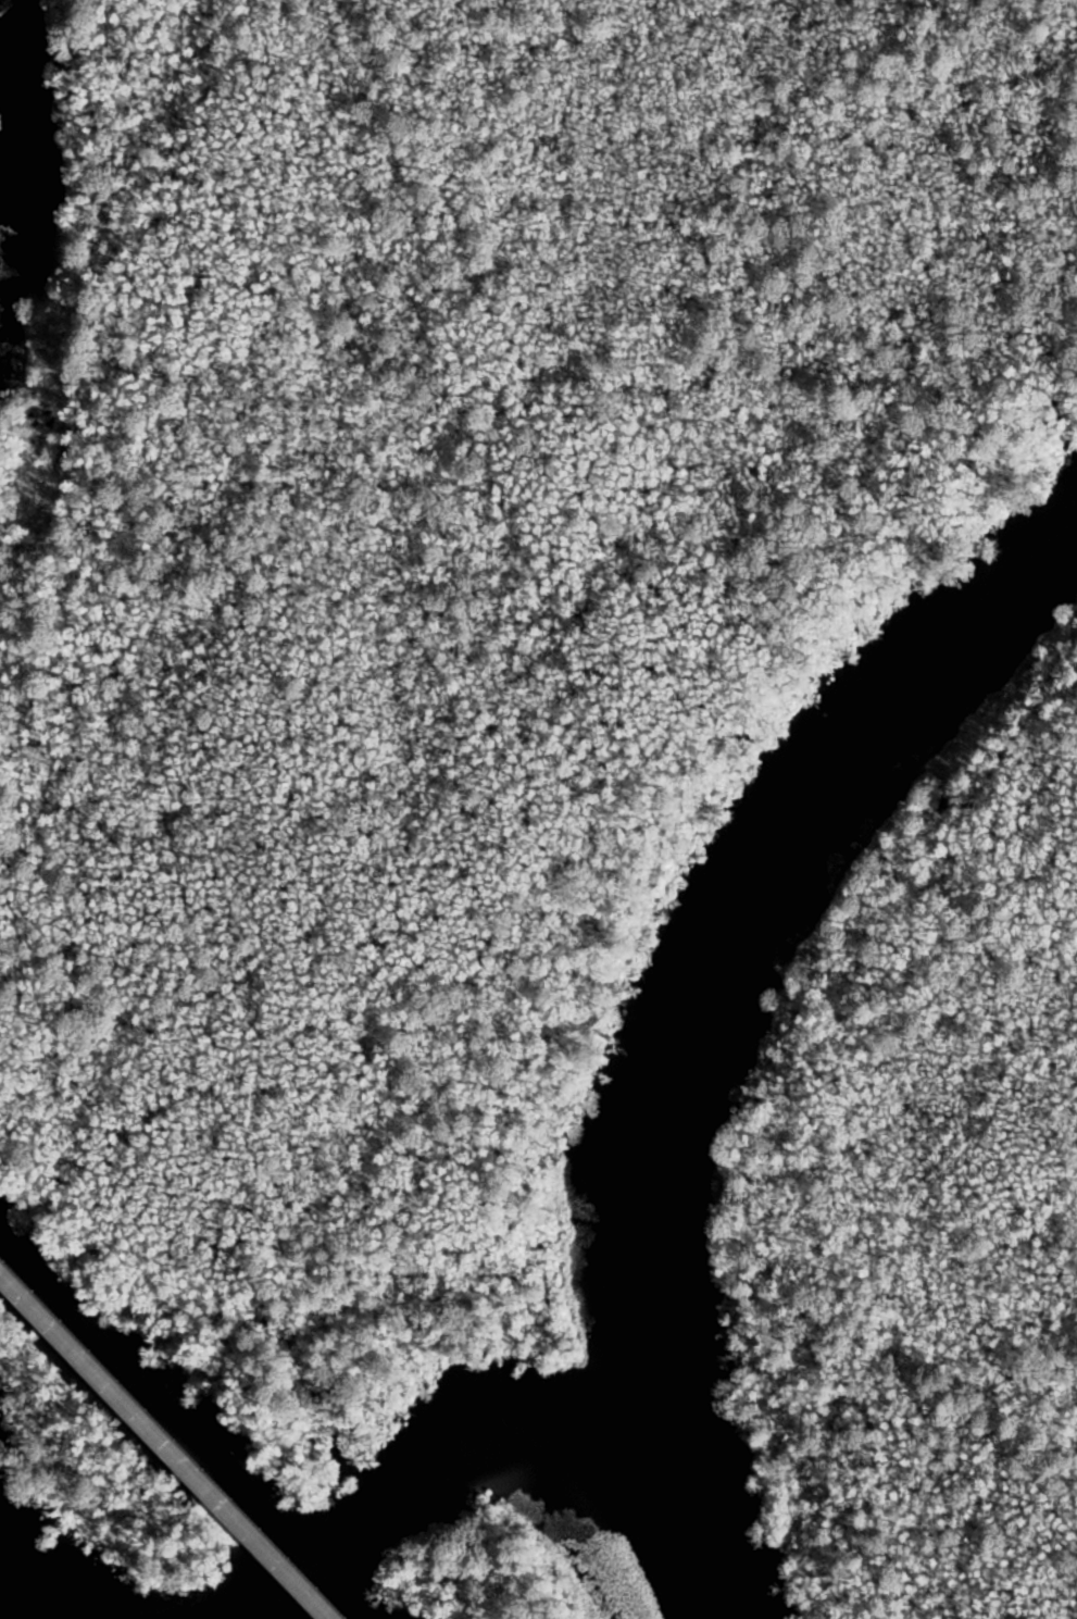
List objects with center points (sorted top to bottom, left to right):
river: (655, 1171)
road: (167, 1443)

